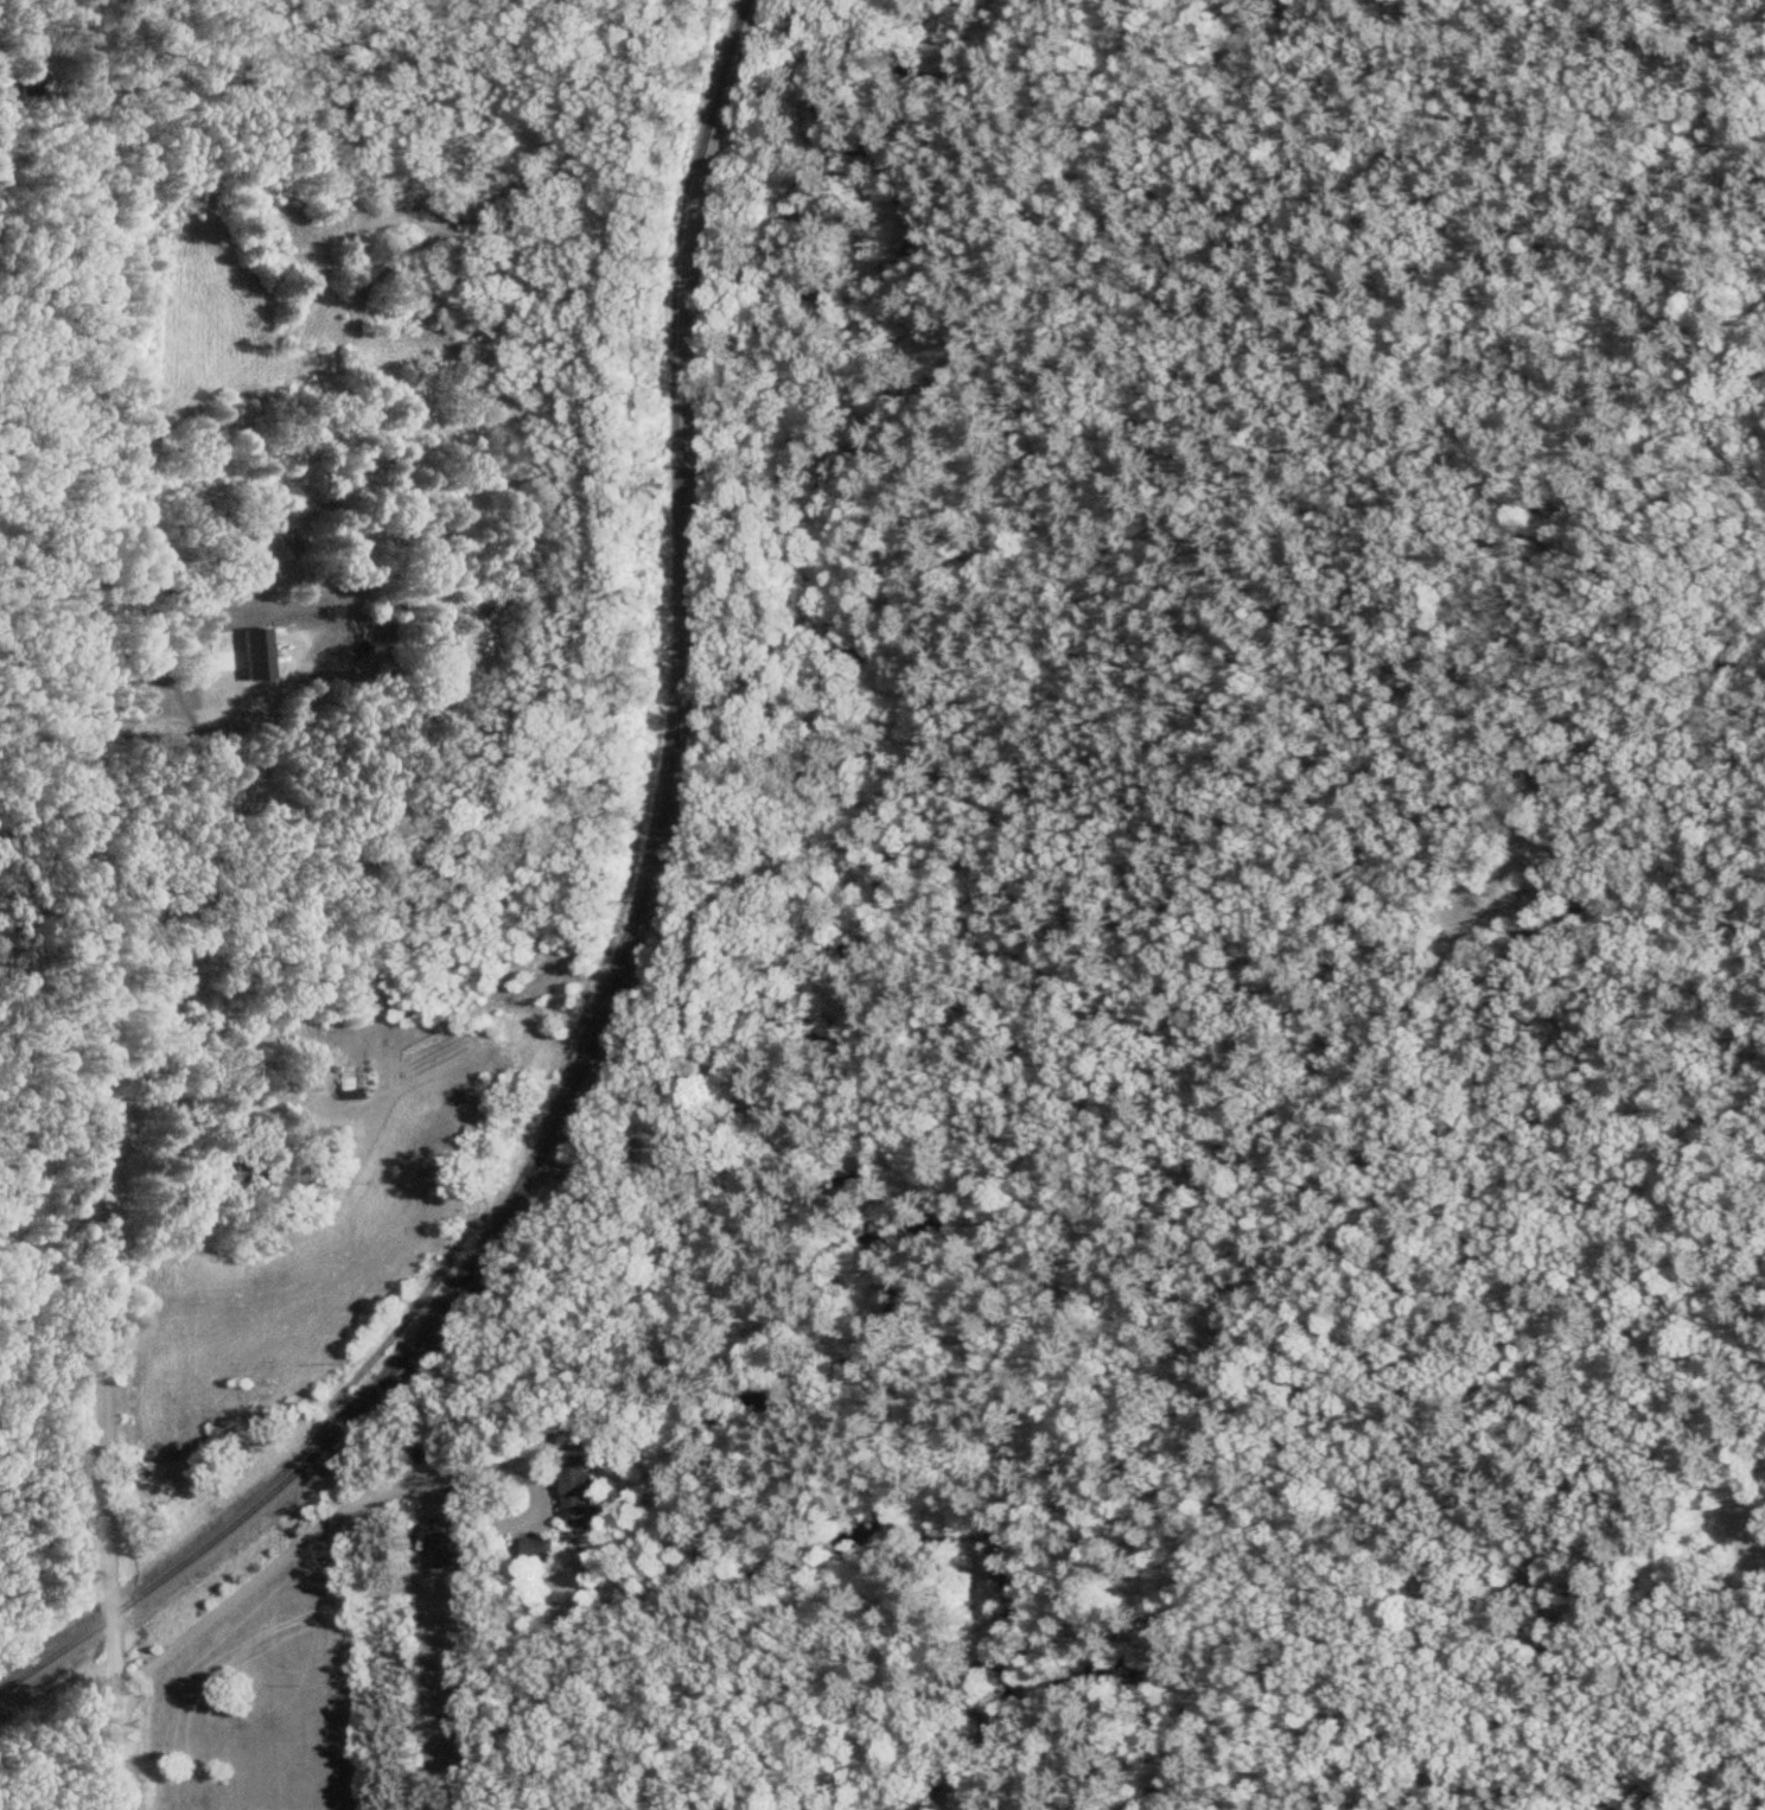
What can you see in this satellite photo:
road: (90, 50)
road: (85, 771)
railway: (623, 965)
building: (348, 1085)
road: (47, 1147)
building: (575, 1489)
building: (534, 1550)
building: (445, 1551)
road: (254, 1572)

